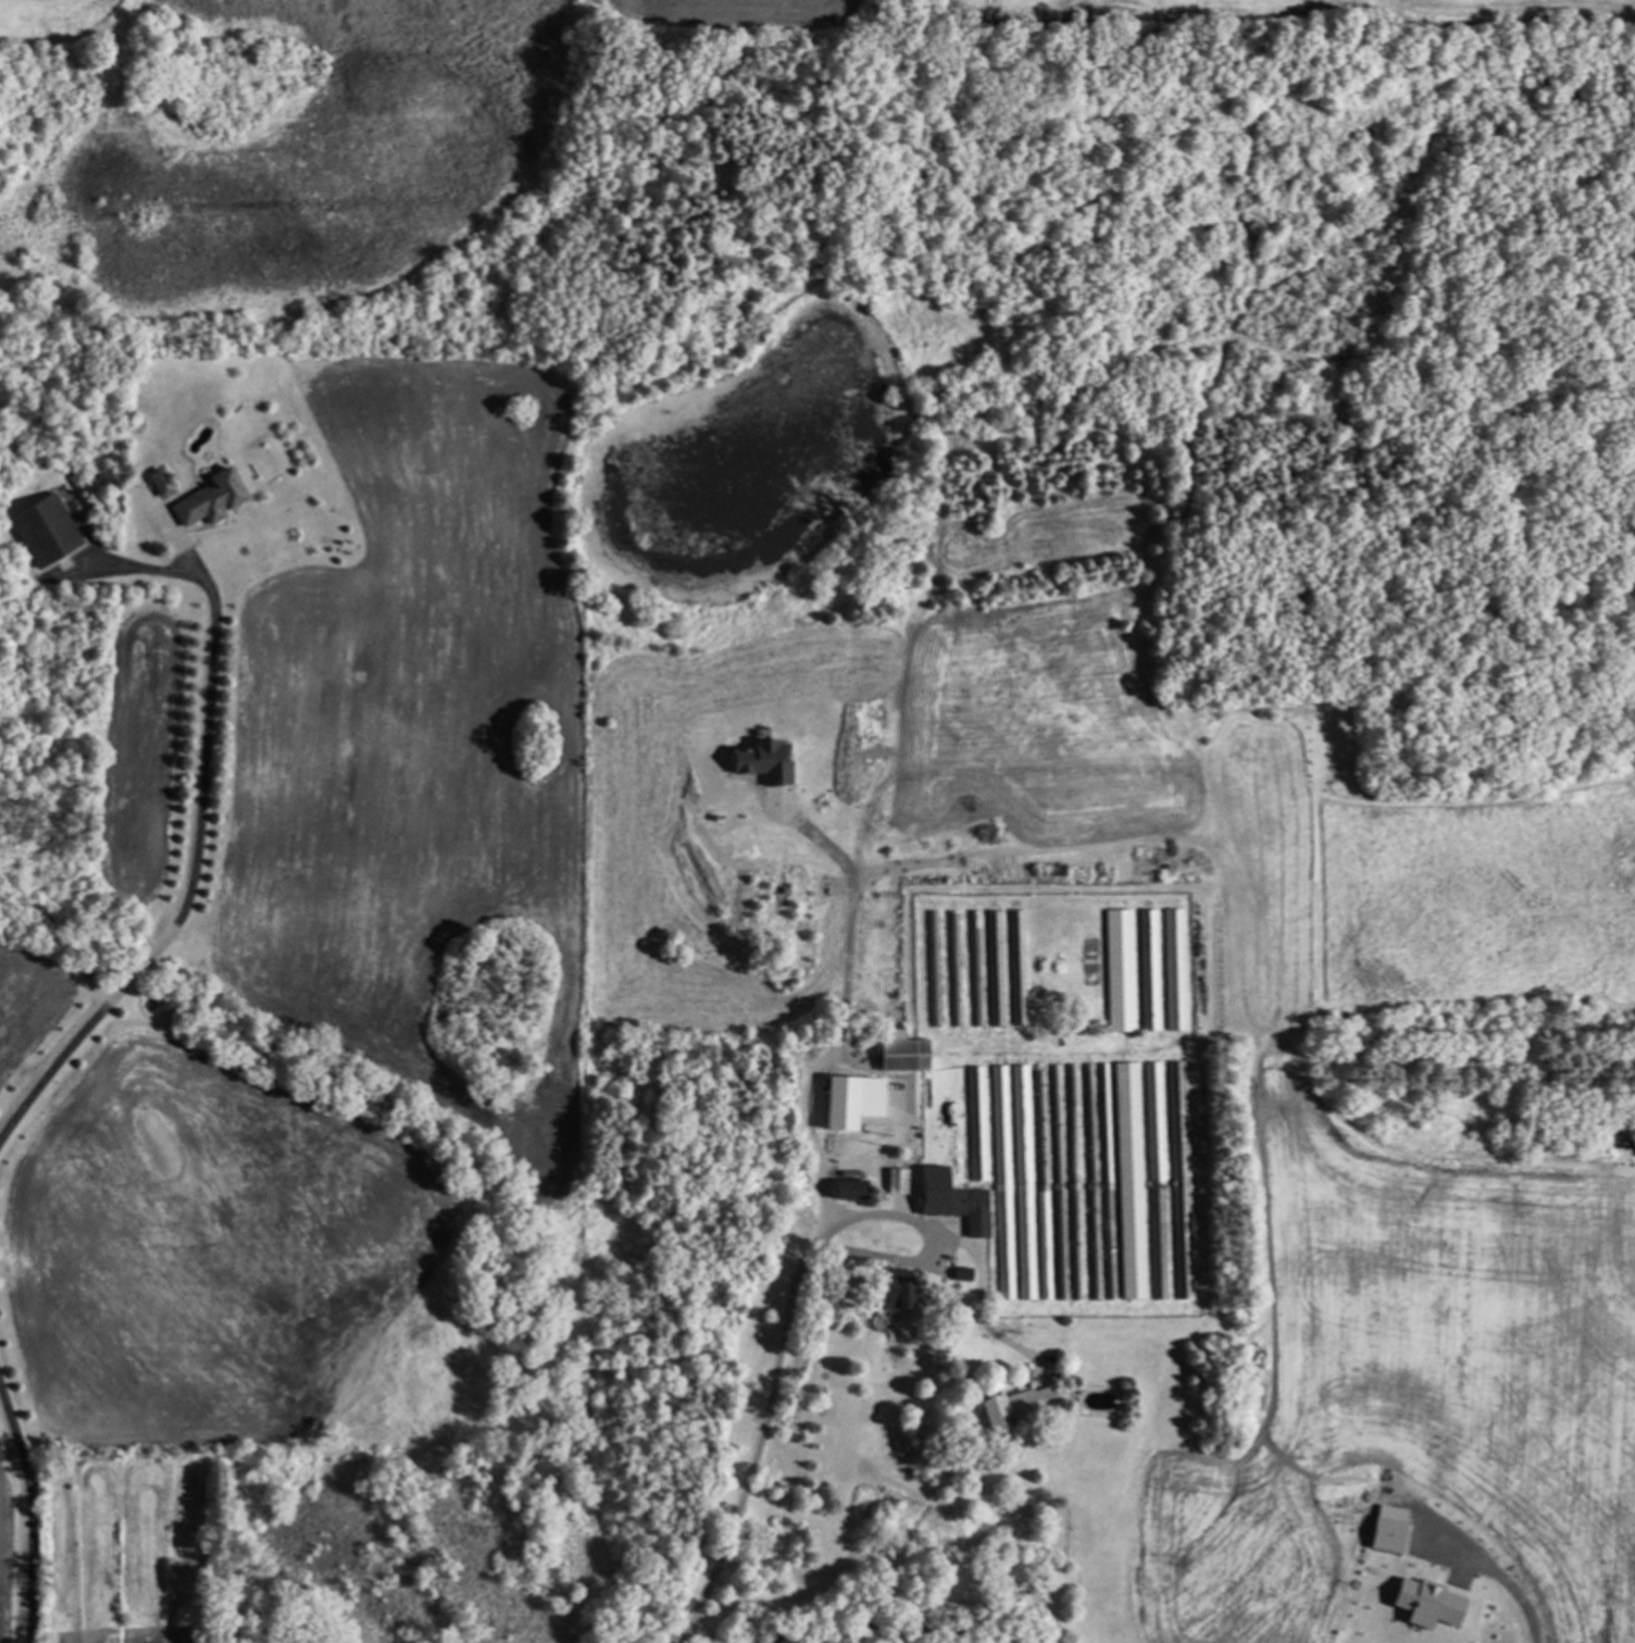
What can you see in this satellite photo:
crop: (1268, 10)
crop: (67, 21)
building: (157, 482)
building: (205, 498)
building: (40, 528)
building: (758, 761)
road: (196, 831)
building: (1015, 961)
building: (931, 964)
building: (1147, 967)
building: (995, 969)
building: (1173, 969)
building: (1116, 970)
building: (975, 973)
building: (952, 978)
road: (843, 1009)
building: (898, 1053)
building: (848, 1101)
building: (947, 1115)
building: (1152, 1122)
building: (975, 1123)
building: (1001, 1174)
building: (1180, 1179)
building: (894, 1181)
building: (1128, 1181)
building: (1022, 1182)
building: (844, 1191)
building: (950, 1200)
road: (928, 1242)
building: (958, 1274)
building: (889, 1290)
road: (978, 1299)
building: (1015, 1406)
road: (762, 1443)
road: (27, 1514)
building: (1383, 1535)
road: (1524, 1602)
building: (1423, 1604)

